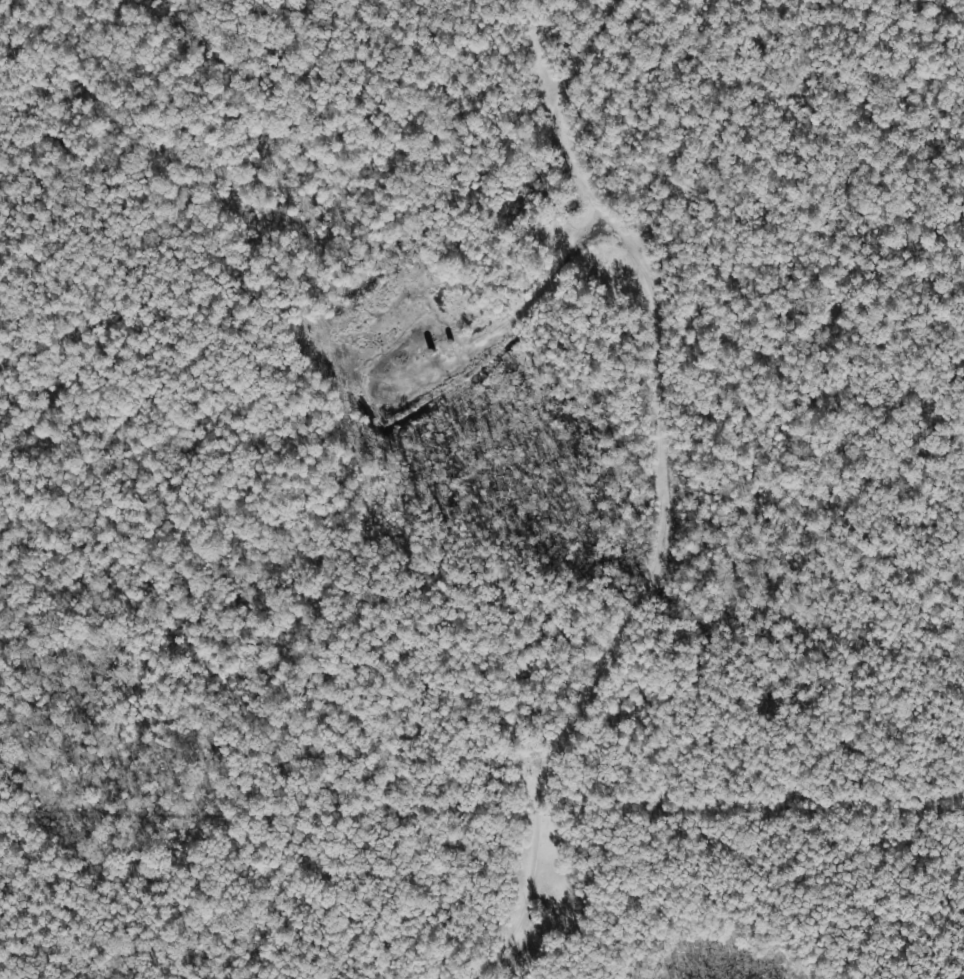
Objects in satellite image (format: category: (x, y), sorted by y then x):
road: (523, 309)
road: (659, 491)

